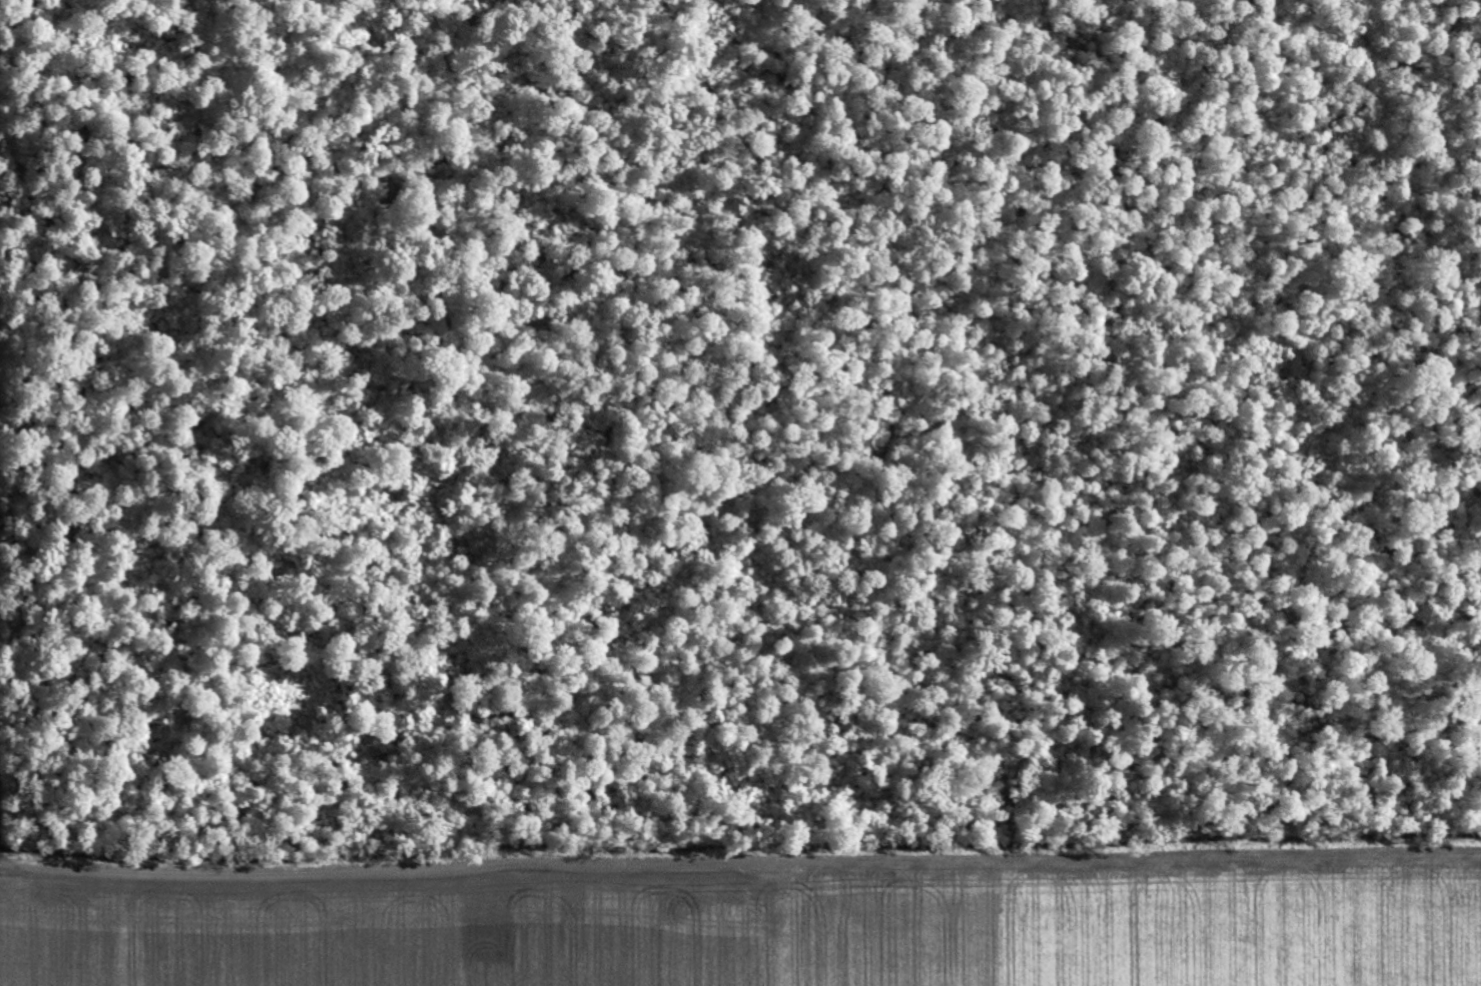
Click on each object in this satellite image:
park: (742, 416)

